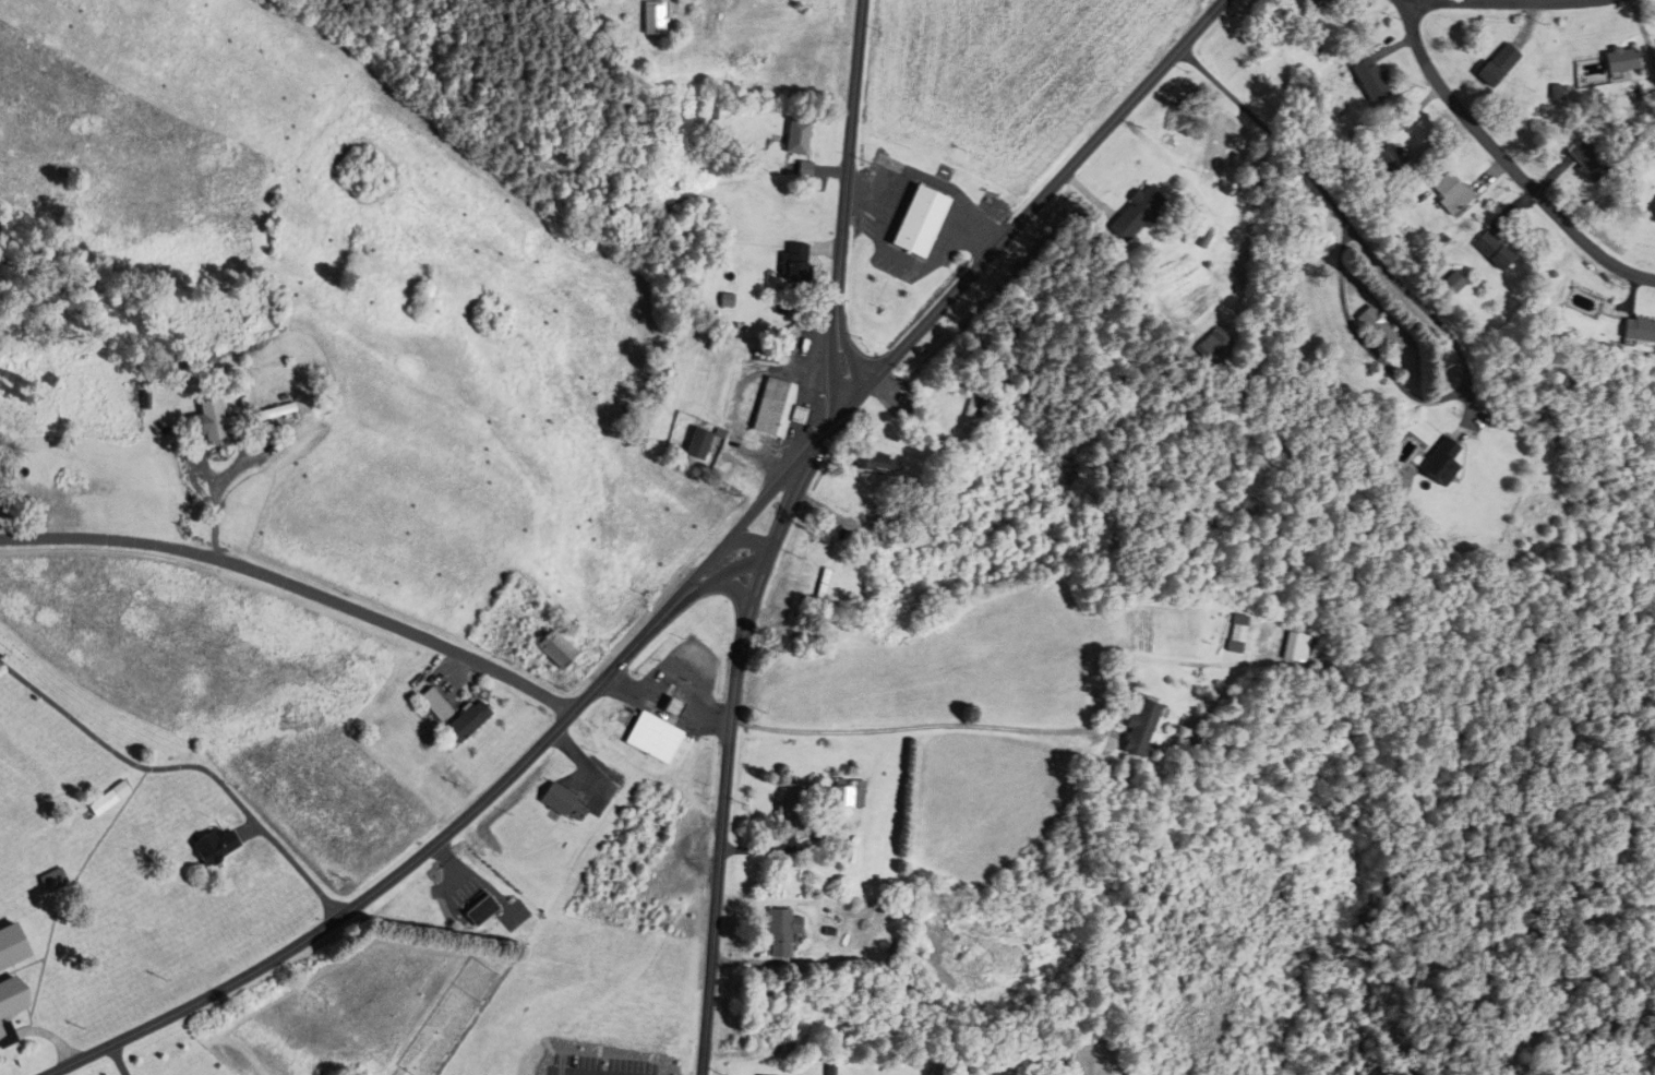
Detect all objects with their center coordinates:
road: (1506, 3)
building: (1302, 5)
building: (652, 19)
building: (1622, 60)
building: (1502, 64)
building: (1370, 80)
building: (800, 136)
building: (1386, 155)
building: (1594, 160)
road: (1506, 162)
building: (1451, 193)
building: (1138, 213)
building: (1654, 218)
building: (922, 222)
road: (842, 225)
building: (1495, 250)
building: (1458, 283)
road: (1422, 304)
building: (1386, 329)
building: (1640, 329)
building: (1221, 346)
building: (775, 407)
building: (980, 410)
building: (272, 411)
building: (207, 421)
building: (880, 459)
building: (1446, 464)
road: (814, 466)
road: (214, 480)
building: (866, 547)
building: (813, 583)
road: (300, 587)
building: (1244, 634)
building: (1299, 647)
building: (560, 649)
road: (676, 693)
building: (440, 705)
building: (674, 706)
road: (915, 727)
building: (1148, 729)
building: (659, 739)
road: (185, 767)
building: (851, 793)
building: (562, 799)
building: (794, 810)
road: (476, 819)
building: (661, 837)
building: (216, 845)
building: (482, 910)
building: (787, 932)
building: (10, 1003)
road: (117, 1059)

